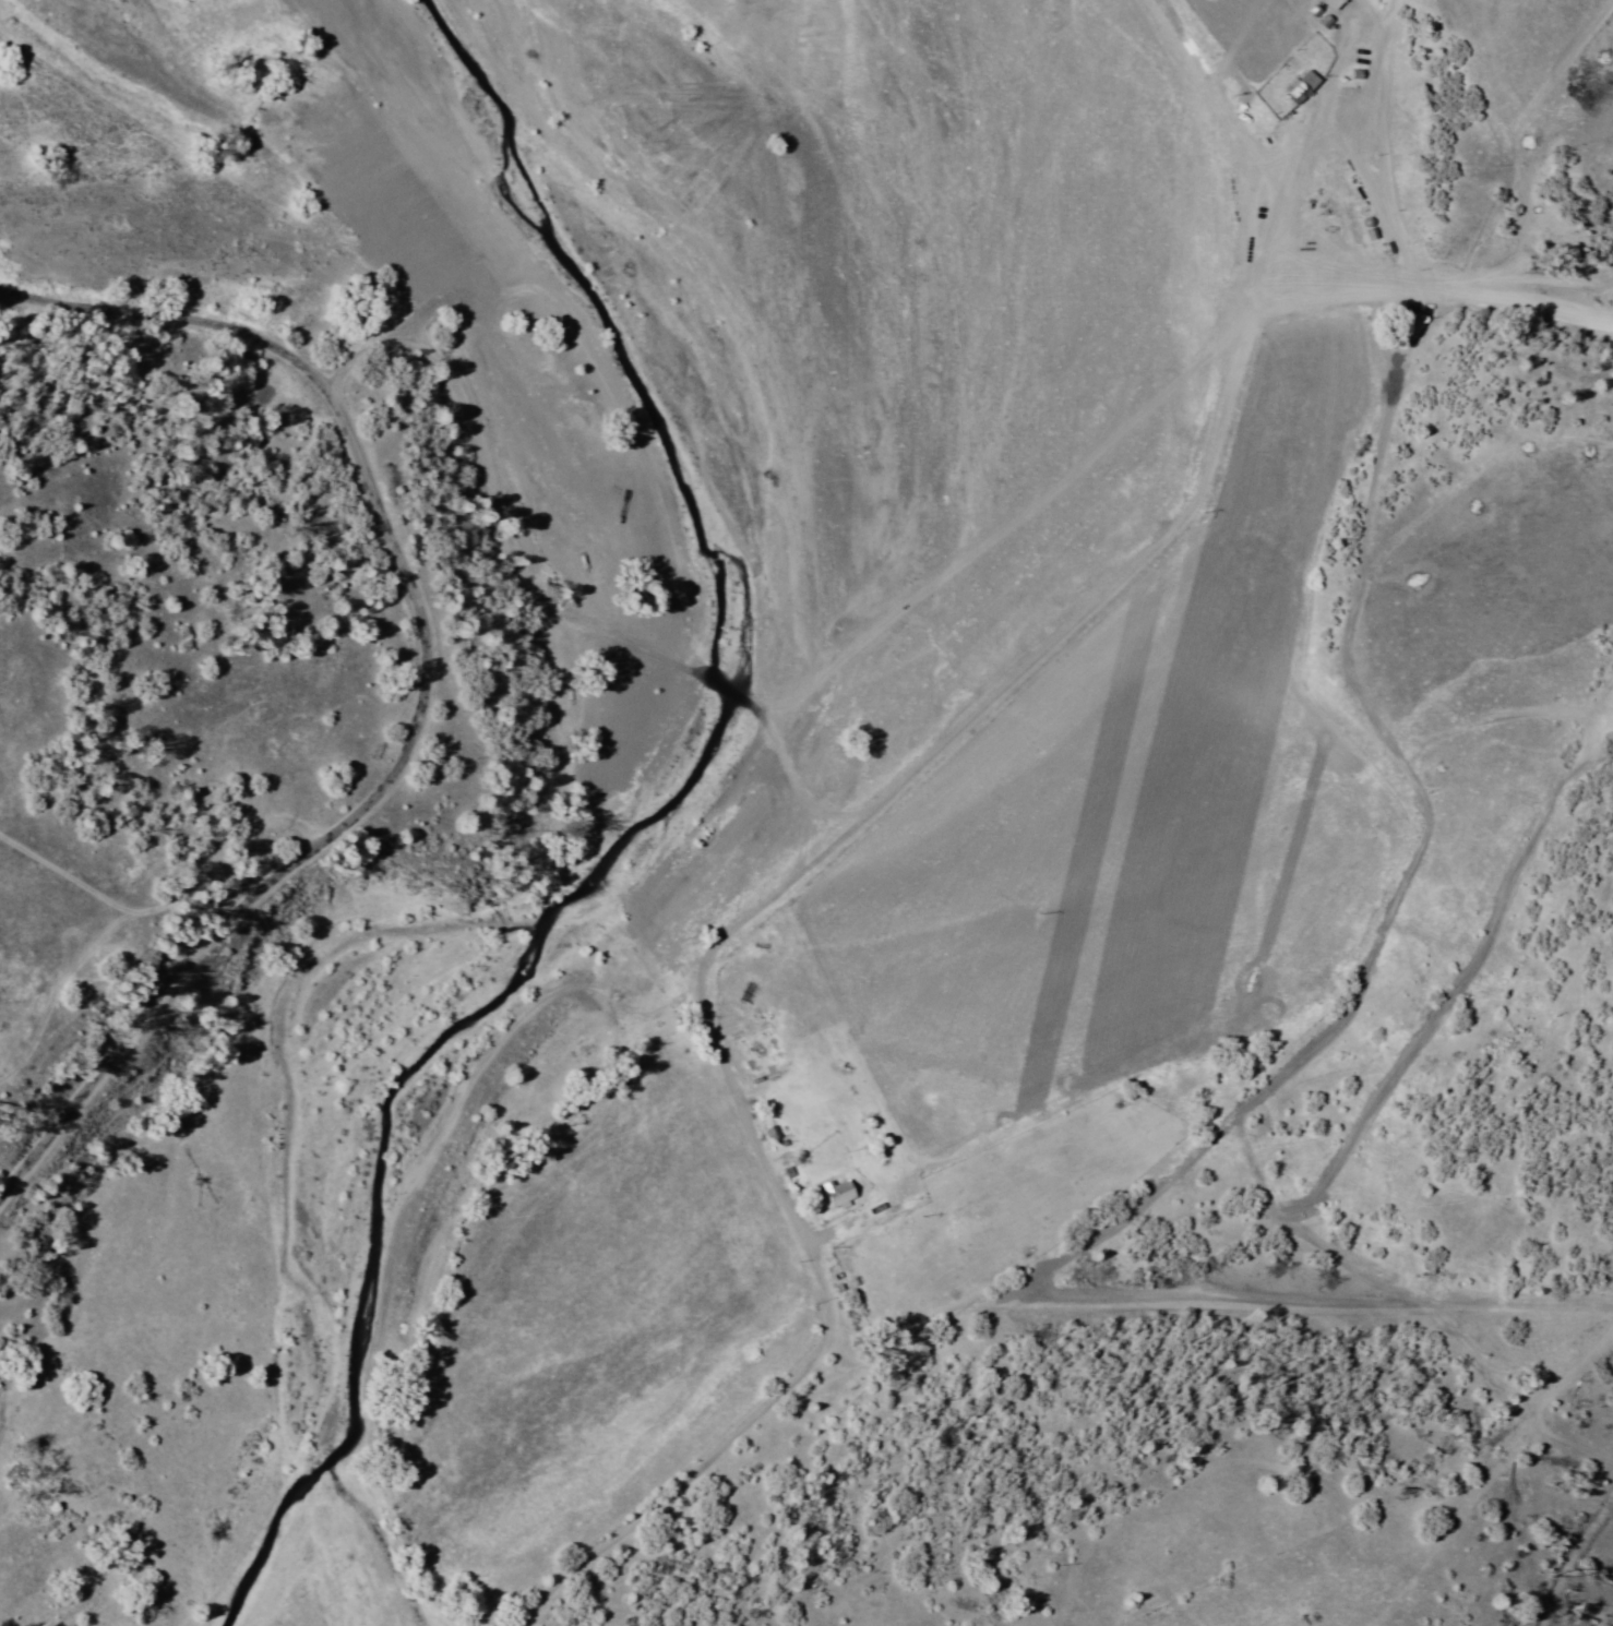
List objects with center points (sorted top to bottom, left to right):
building: (1324, 15)
building: (1365, 72)
building: (1294, 81)
building: (1303, 86)
river: (499, 129)
river: (713, 420)
road: (1174, 526)
road: (589, 646)
road: (421, 685)
river: (539, 894)
building: (760, 1045)
building: (832, 1189)
building: (845, 1196)
road: (816, 1284)
river: (354, 1329)
river: (295, 1575)

